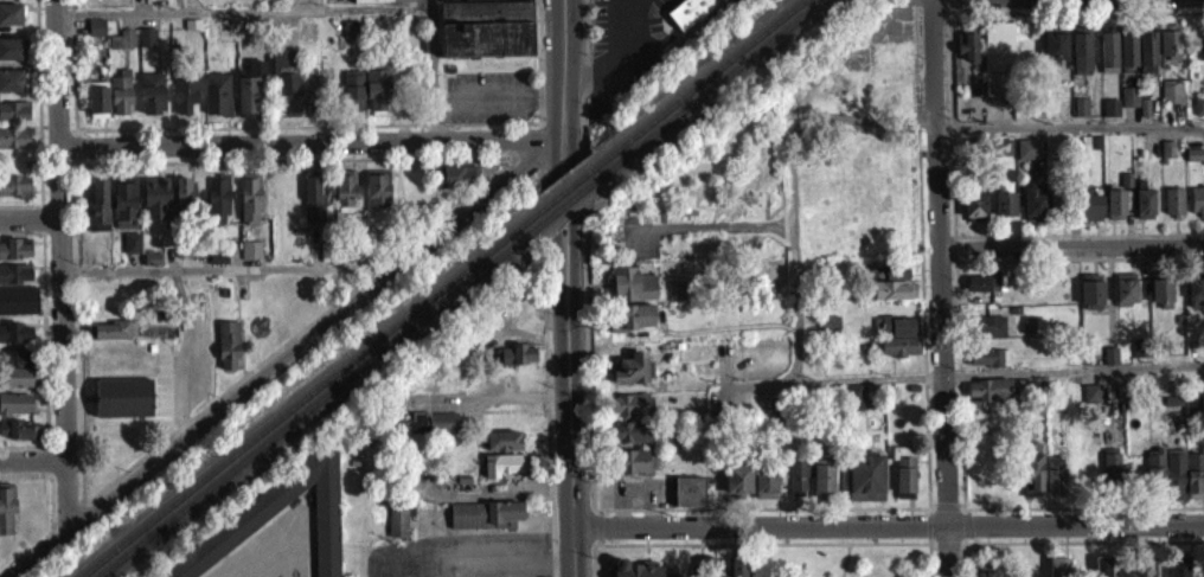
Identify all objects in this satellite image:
building: (191, 1)
building: (249, 1)
road: (301, 4)
building: (371, 5)
road: (616, 11)
building: (689, 11)
road: (1067, 11)
building: (9, 23)
building: (486, 33)
building: (96, 36)
building: (350, 37)
building: (225, 41)
building: (146, 45)
building: (122, 47)
building: (1168, 50)
building: (967, 53)
road: (616, 56)
building: (1055, 56)
building: (11, 57)
building: (1108, 60)
building: (1127, 60)
building: (1146, 60)
building: (1081, 62)
road: (559, 68)
building: (998, 68)
railway: (700, 82)
building: (9, 89)
building: (286, 89)
railway: (710, 89)
building: (312, 95)
building: (352, 98)
building: (249, 100)
building: (1171, 100)
building: (120, 102)
building: (152, 102)
building: (216, 102)
building: (1199, 103)
building: (184, 105)
building: (1128, 105)
building: (97, 110)
building: (1081, 115)
building: (1110, 116)
building: (13, 118)
road: (1068, 123)
road: (310, 141)
building: (13, 146)
building: (1003, 155)
building: (1029, 158)
building: (1167, 158)
building: (1193, 162)
building: (455, 184)
railway: (570, 186)
building: (14, 194)
building: (377, 197)
building: (345, 198)
road: (574, 199)
building: (1198, 199)
road: (555, 200)
railway: (570, 200)
building: (184, 201)
building: (155, 206)
building: (249, 206)
building: (123, 209)
building: (217, 209)
building: (96, 210)
building: (1173, 210)
building: (313, 212)
building: (1005, 212)
building: (1035, 212)
building: (1115, 212)
building: (1144, 212)
building: (974, 213)
building: (1089, 213)
road: (30, 216)
road: (19, 229)
road: (1069, 231)
road: (1070, 244)
building: (133, 251)
road: (1069, 255)
building: (14, 257)
building: (250, 258)
road: (60, 263)
building: (897, 281)
building: (14, 282)
road: (936, 288)
building: (987, 290)
building: (1196, 290)
building: (632, 293)
building: (1126, 297)
building: (894, 299)
building: (1091, 300)
building: (1161, 301)
building: (18, 309)
building: (632, 326)
building: (828, 332)
building: (1029, 333)
building: (895, 334)
building: (987, 334)
building: (114, 338)
building: (14, 341)
building: (229, 353)
building: (899, 354)
road: (284, 355)
building: (1140, 355)
building: (517, 363)
building: (990, 366)
road: (1071, 367)
building: (632, 377)
building: (14, 378)
railway: (310, 393)
railway: (319, 399)
building: (990, 399)
building: (851, 405)
building: (122, 406)
building: (14, 412)
building: (628, 413)
road: (570, 419)
building: (428, 432)
building: (18, 438)
building: (628, 441)
road: (24, 444)
building: (502, 449)
road: (32, 459)
building: (632, 470)
road: (25, 472)
building: (500, 473)
building: (1196, 474)
building: (1155, 476)
building: (1031, 477)
building: (1113, 477)
building: (821, 480)
building: (903, 481)
building: (1055, 482)
building: (1174, 482)
building: (795, 485)
building: (865, 486)
building: (737, 488)
building: (763, 492)
building: (689, 500)
road: (1074, 504)
building: (6, 518)
building: (254, 522)
building: (483, 522)
road: (889, 524)
building: (397, 530)
road: (1074, 538)
park: (841, 550)
road: (12, 559)
road: (474, 560)
building: (737, 570)
building: (1102, 570)
building: (1178, 570)
building: (703, 571)
building: (1057, 571)
building: (1142, 572)
building: (640, 573)

